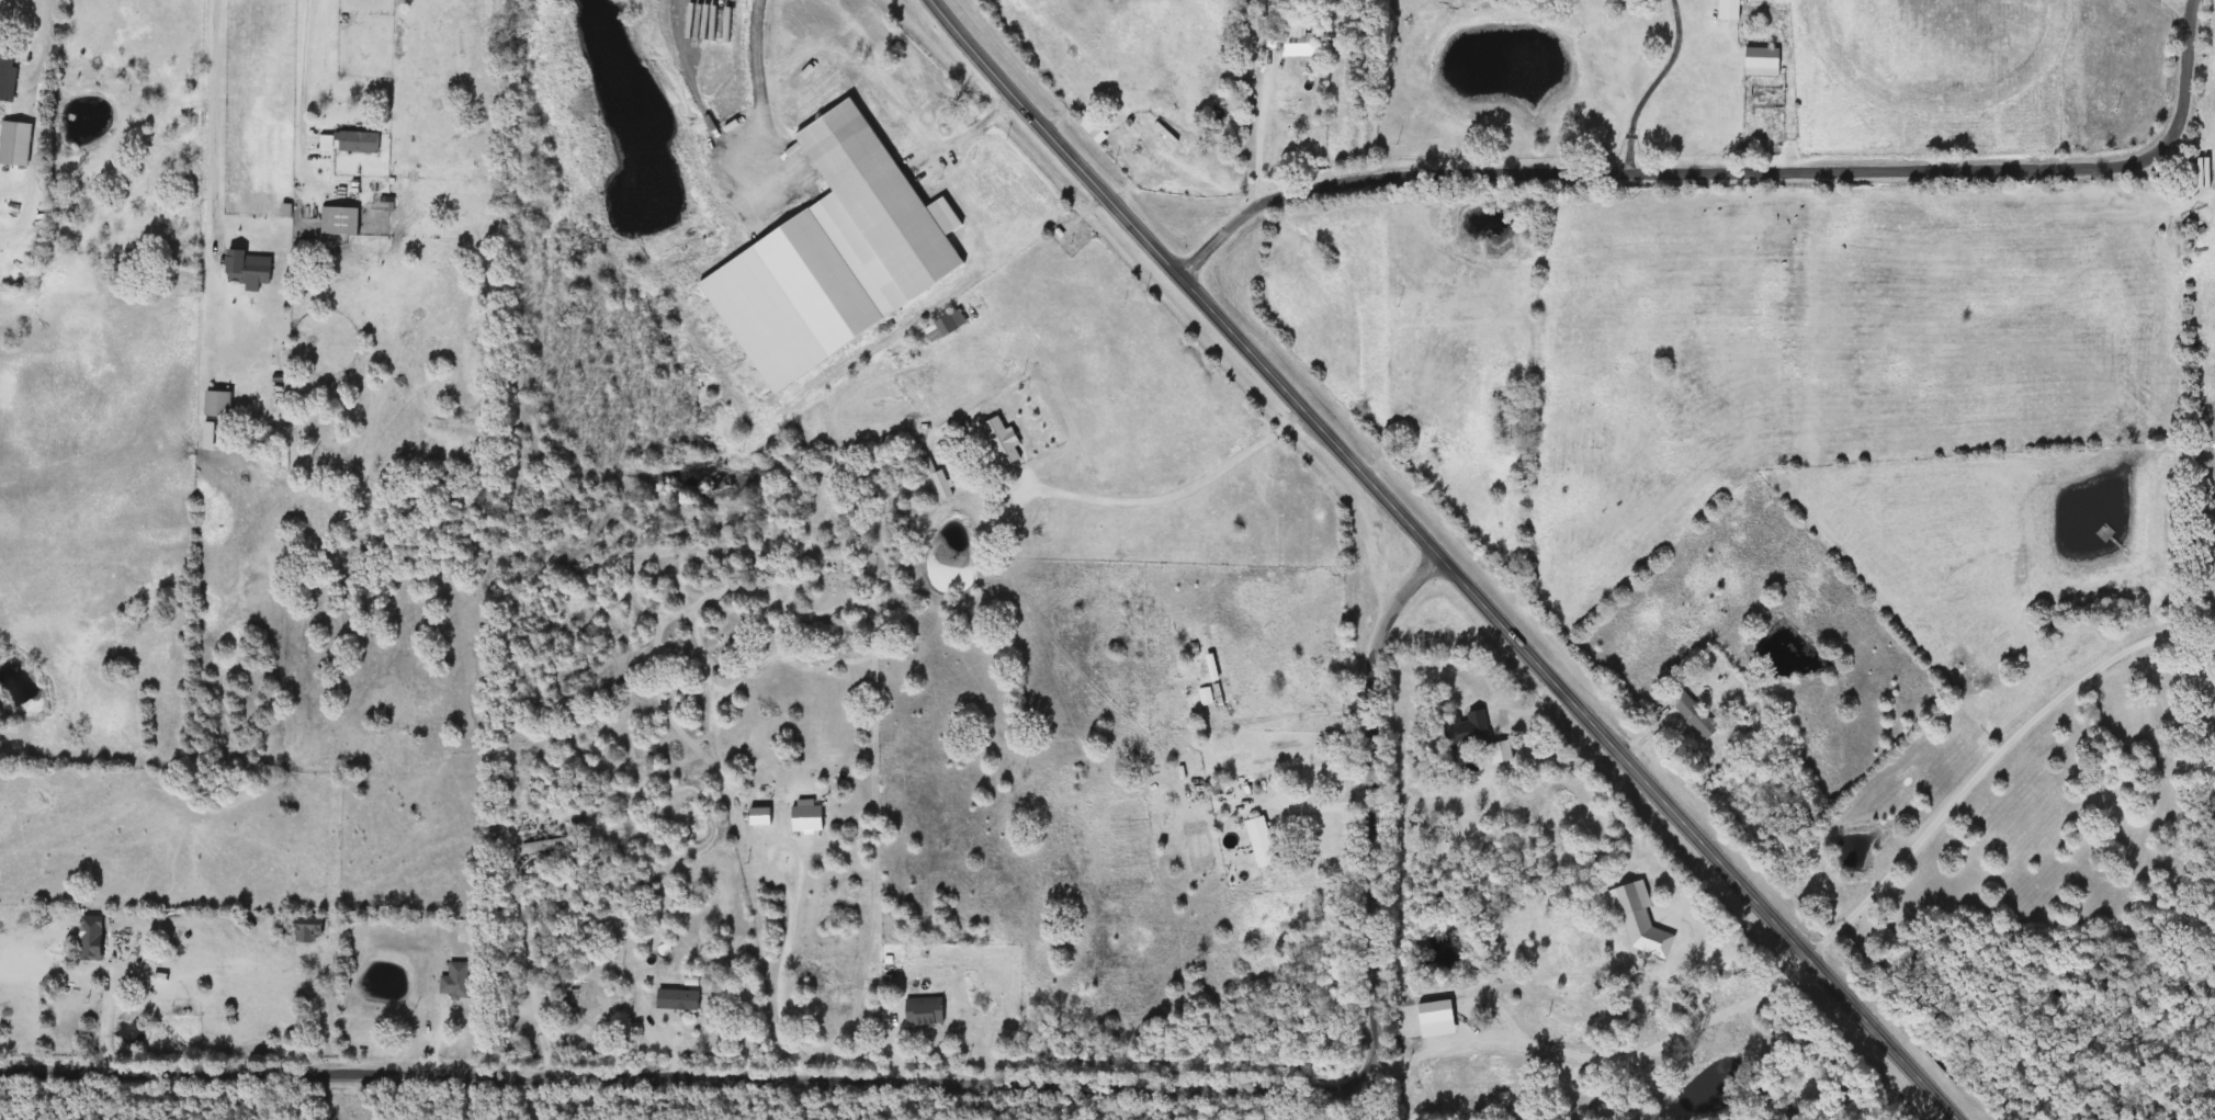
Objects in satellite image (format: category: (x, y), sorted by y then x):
road: (2185, 7)
building: (1732, 10)
building: (1291, 38)
road: (45, 42)
building: (1764, 60)
building: (11, 76)
road: (1651, 84)
road: (307, 86)
road: (764, 93)
road: (1794, 125)
road: (217, 129)
road: (973, 132)
building: (350, 140)
road: (1259, 148)
road: (1743, 172)
building: (877, 210)
building: (342, 219)
building: (251, 268)
building: (14, 272)
building: (947, 326)
building: (221, 403)
building: (211, 434)
building: (998, 435)
building: (977, 457)
road: (1176, 495)
road: (1449, 565)
road: (2184, 622)
road: (2185, 641)
road: (1299, 706)
building: (1696, 715)
road: (1968, 779)
road: (1331, 802)
building: (1263, 841)
road: (793, 913)
road: (530, 966)
building: (455, 981)
building: (680, 999)
road: (111, 1009)
building: (925, 1011)
road: (658, 1033)
road: (1595, 1049)
road: (946, 1068)
road: (1343, 1091)

